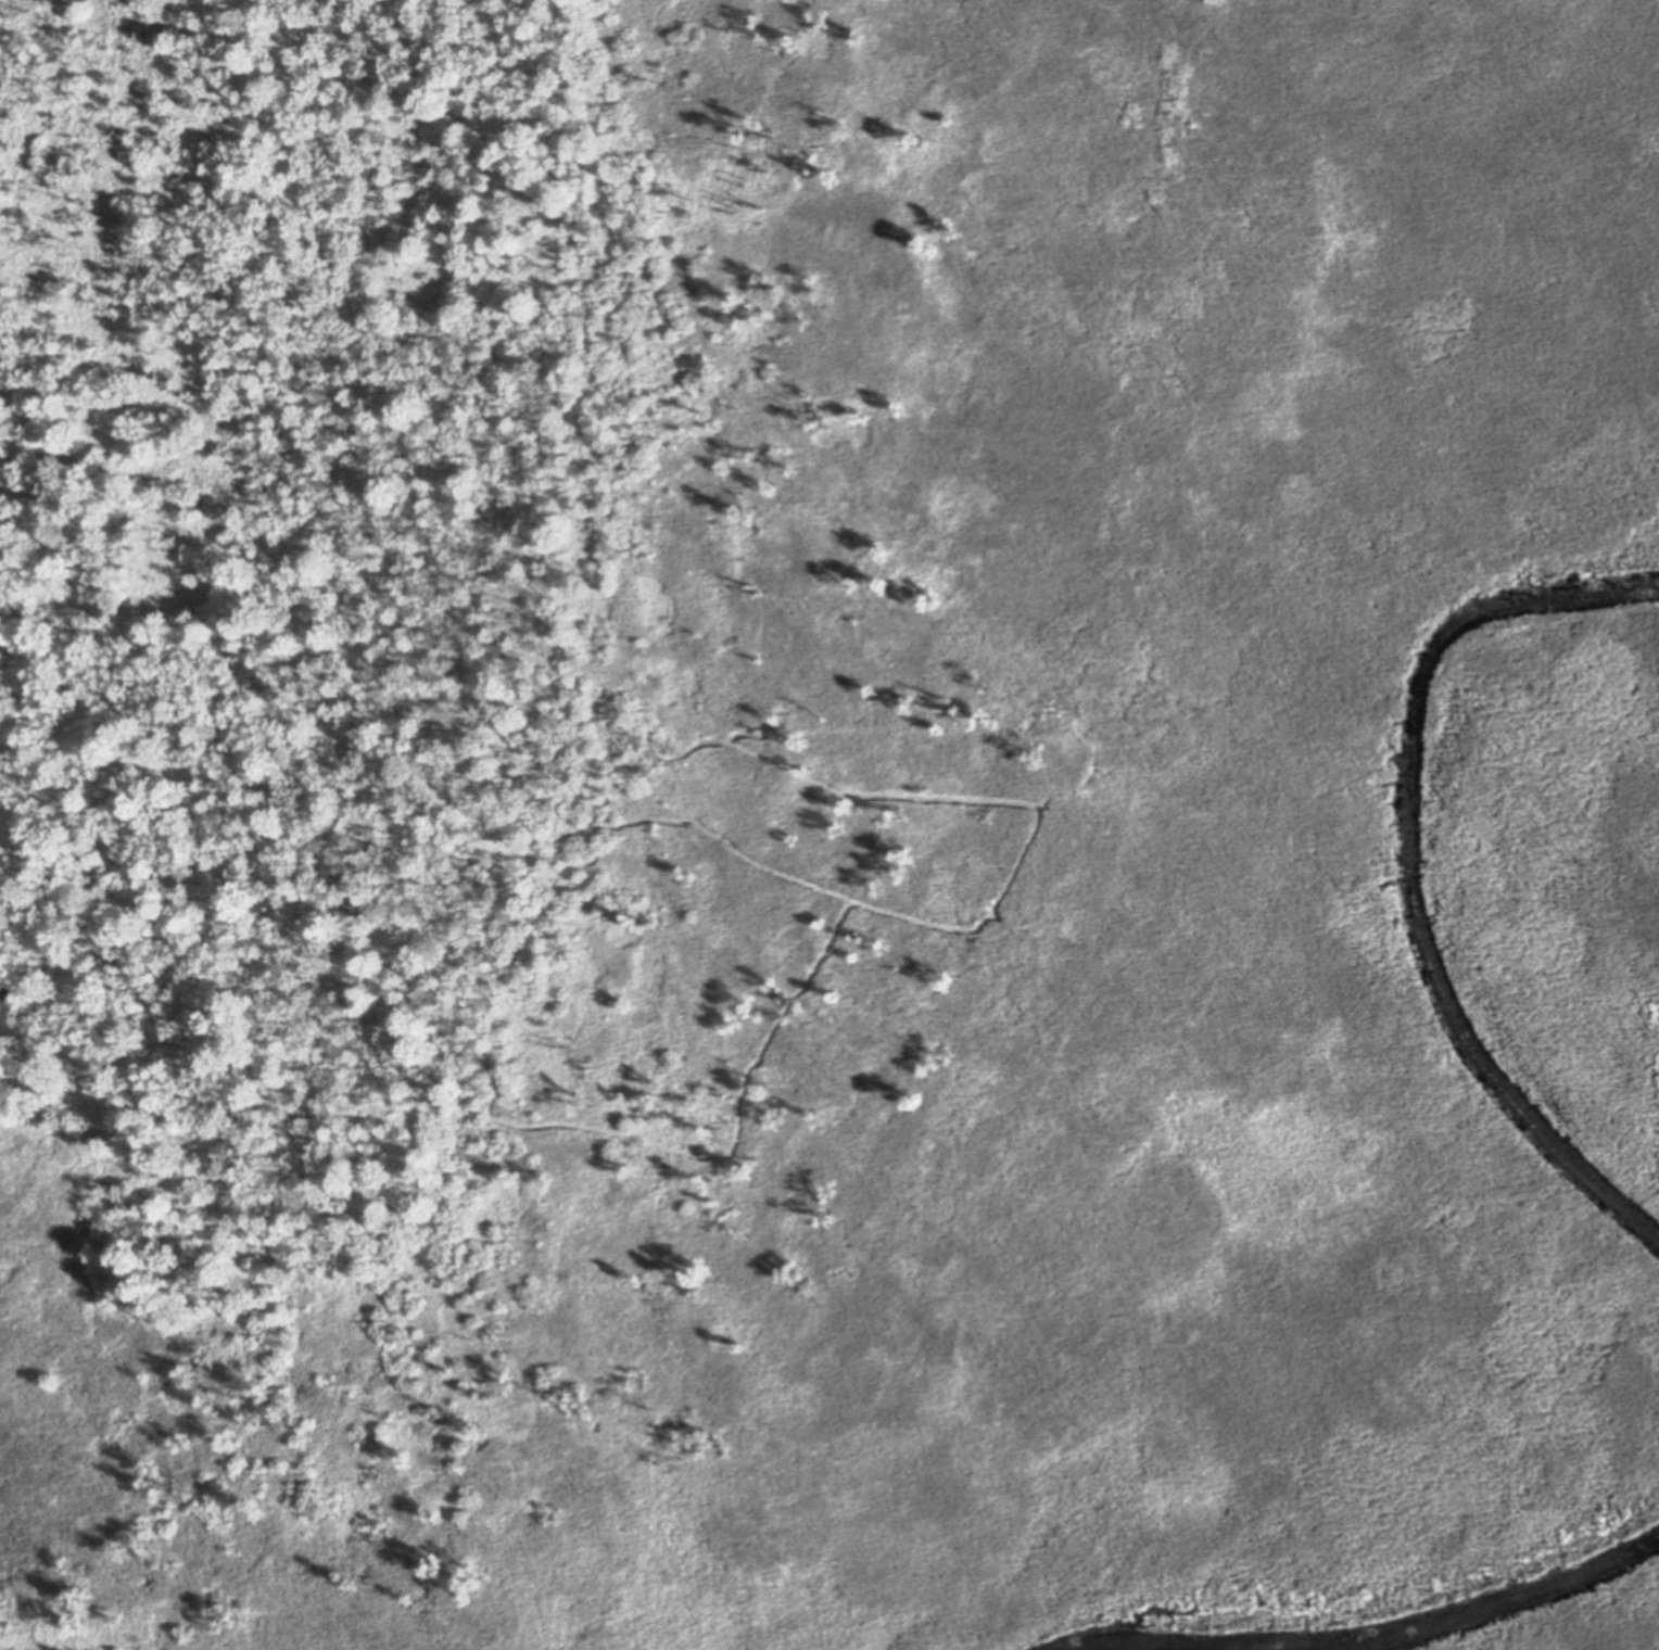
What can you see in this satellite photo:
river: (1405, 865)
building: (355, 904)
building: (701, 1427)
river: (1370, 1637)

